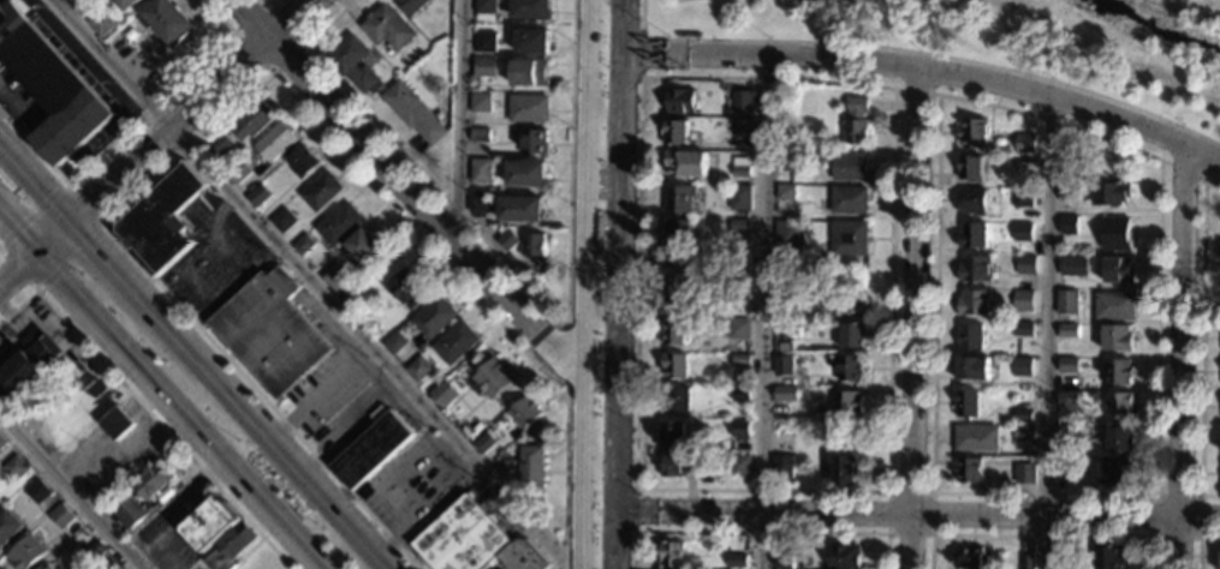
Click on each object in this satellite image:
road: (263, 0)
building: (73, 2)
building: (125, 4)
building: (411, 7)
building: (483, 10)
building: (531, 11)
road: (642, 14)
building: (165, 22)
building: (100, 24)
river: (1167, 24)
building: (387, 30)
building: (129, 35)
park: (1011, 37)
building: (484, 42)
road: (302, 44)
building: (534, 44)
road: (641, 53)
building: (433, 56)
road: (912, 64)
building: (352, 66)
building: (483, 67)
building: (530, 77)
building: (52, 86)
road: (917, 90)
building: (679, 98)
road: (240, 100)
building: (740, 102)
building: (480, 103)
building: (529, 112)
building: (413, 115)
road: (458, 119)
building: (857, 120)
building: (250, 121)
road: (127, 125)
building: (744, 125)
road: (173, 126)
building: (676, 130)
building: (976, 132)
building: (478, 136)
road: (590, 139)
building: (1026, 140)
building: (274, 143)
building: (535, 145)
building: (219, 148)
building: (1026, 158)
building: (787, 160)
building: (686, 161)
building: (299, 164)
building: (740, 166)
building: (850, 166)
building: (971, 166)
building: (480, 170)
road: (1183, 170)
building: (237, 172)
building: (526, 176)
road: (34, 182)
road: (401, 190)
building: (786, 190)
building: (1069, 191)
building: (1111, 191)
building: (319, 193)
building: (256, 194)
building: (679, 196)
building: (740, 196)
building: (1022, 197)
building: (849, 198)
building: (974, 199)
road: (85, 203)
building: (477, 203)
building: (519, 209)
road: (32, 211)
building: (280, 221)
building: (160, 222)
building: (1069, 223)
building: (740, 224)
building: (337, 226)
building: (678, 229)
building: (1022, 229)
building: (790, 232)
building: (1115, 232)
road: (16, 234)
building: (972, 234)
building: (849, 235)
building: (507, 242)
building: (300, 244)
building: (535, 247)
building: (357, 251)
road: (70, 258)
building: (742, 259)
building: (1025, 263)
building: (678, 264)
building: (1073, 264)
road: (16, 266)
building: (976, 268)
building: (1118, 268)
road: (114, 270)
road: (17, 271)
building: (796, 271)
building: (335, 278)
road: (619, 284)
road: (525, 286)
road: (314, 287)
building: (405, 291)
building: (739, 291)
road: (917, 291)
building: (784, 294)
building: (676, 295)
building: (350, 297)
building: (846, 298)
building: (1023, 299)
building: (975, 301)
building: (1067, 303)
building: (1113, 304)
road: (763, 311)
building: (434, 319)
road: (587, 325)
building: (786, 325)
building: (739, 328)
building: (1022, 328)
building: (677, 329)
building: (1067, 329)
road: (1048, 331)
building: (851, 334)
building: (268, 335)
building: (970, 335)
building: (1117, 337)
road: (1202, 341)
building: (392, 342)
building: (456, 347)
road: (1184, 354)
building: (742, 358)
building: (30, 360)
road: (566, 364)
building: (676, 364)
building: (784, 364)
building: (1067, 364)
building: (1020, 365)
building: (850, 366)
building: (974, 367)
building: (416, 370)
building: (1115, 371)
building: (492, 382)
road: (601, 384)
building: (785, 391)
road: (319, 393)
building: (441, 393)
building: (740, 393)
building: (677, 397)
building: (1067, 399)
building: (847, 400)
building: (968, 402)
building: (1118, 405)
building: (1022, 409)
road: (178, 411)
road: (147, 412)
building: (524, 415)
road: (345, 421)
building: (115, 425)
building: (740, 427)
building: (1066, 431)
building: (674, 432)
building: (1024, 432)
building: (977, 437)
building: (1119, 437)
building: (1, 442)
building: (483, 442)
road: (274, 444)
building: (370, 448)
road: (933, 457)
building: (677, 463)
building: (740, 465)
building: (523, 467)
road: (584, 467)
building: (782, 467)
building: (1058, 467)
building: (14, 468)
building: (844, 468)
building: (969, 469)
building: (1114, 469)
building: (1025, 472)
road: (635, 484)
building: (37, 491)
road: (69, 493)
building: (138, 498)
building: (0, 499)
building: (0, 502)
road: (633, 509)
road: (901, 515)
building: (60, 516)
building: (208, 527)
building: (8, 528)
road: (758, 532)
road: (889, 534)
road: (1042, 535)
building: (460, 537)
road: (1197, 538)
road: (913, 541)
road: (1198, 543)
building: (228, 550)
building: (94, 551)
building: (672, 552)
building: (25, 555)
building: (524, 555)
building: (845, 555)
building: (970, 556)
building: (1111, 557)
building: (737, 558)
building: (786, 559)
building: (1028, 561)
building: (1058, 561)
building: (103, 563)
road: (599, 563)
building: (49, 565)
road: (583, 565)

